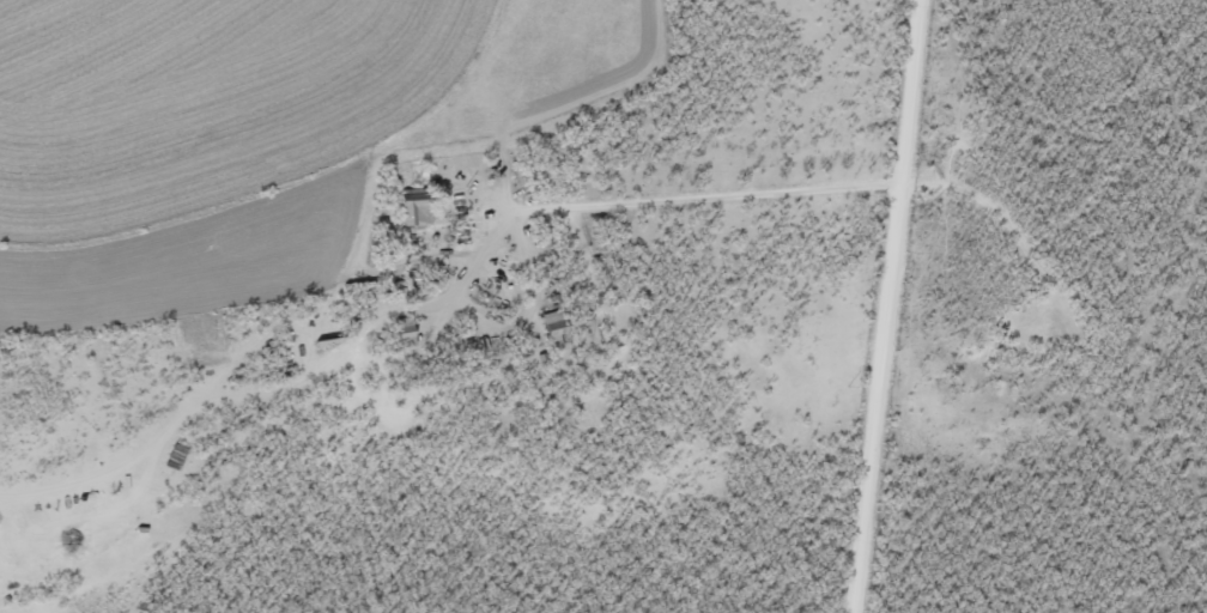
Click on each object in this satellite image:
road: (473, 254)
road: (933, 308)

